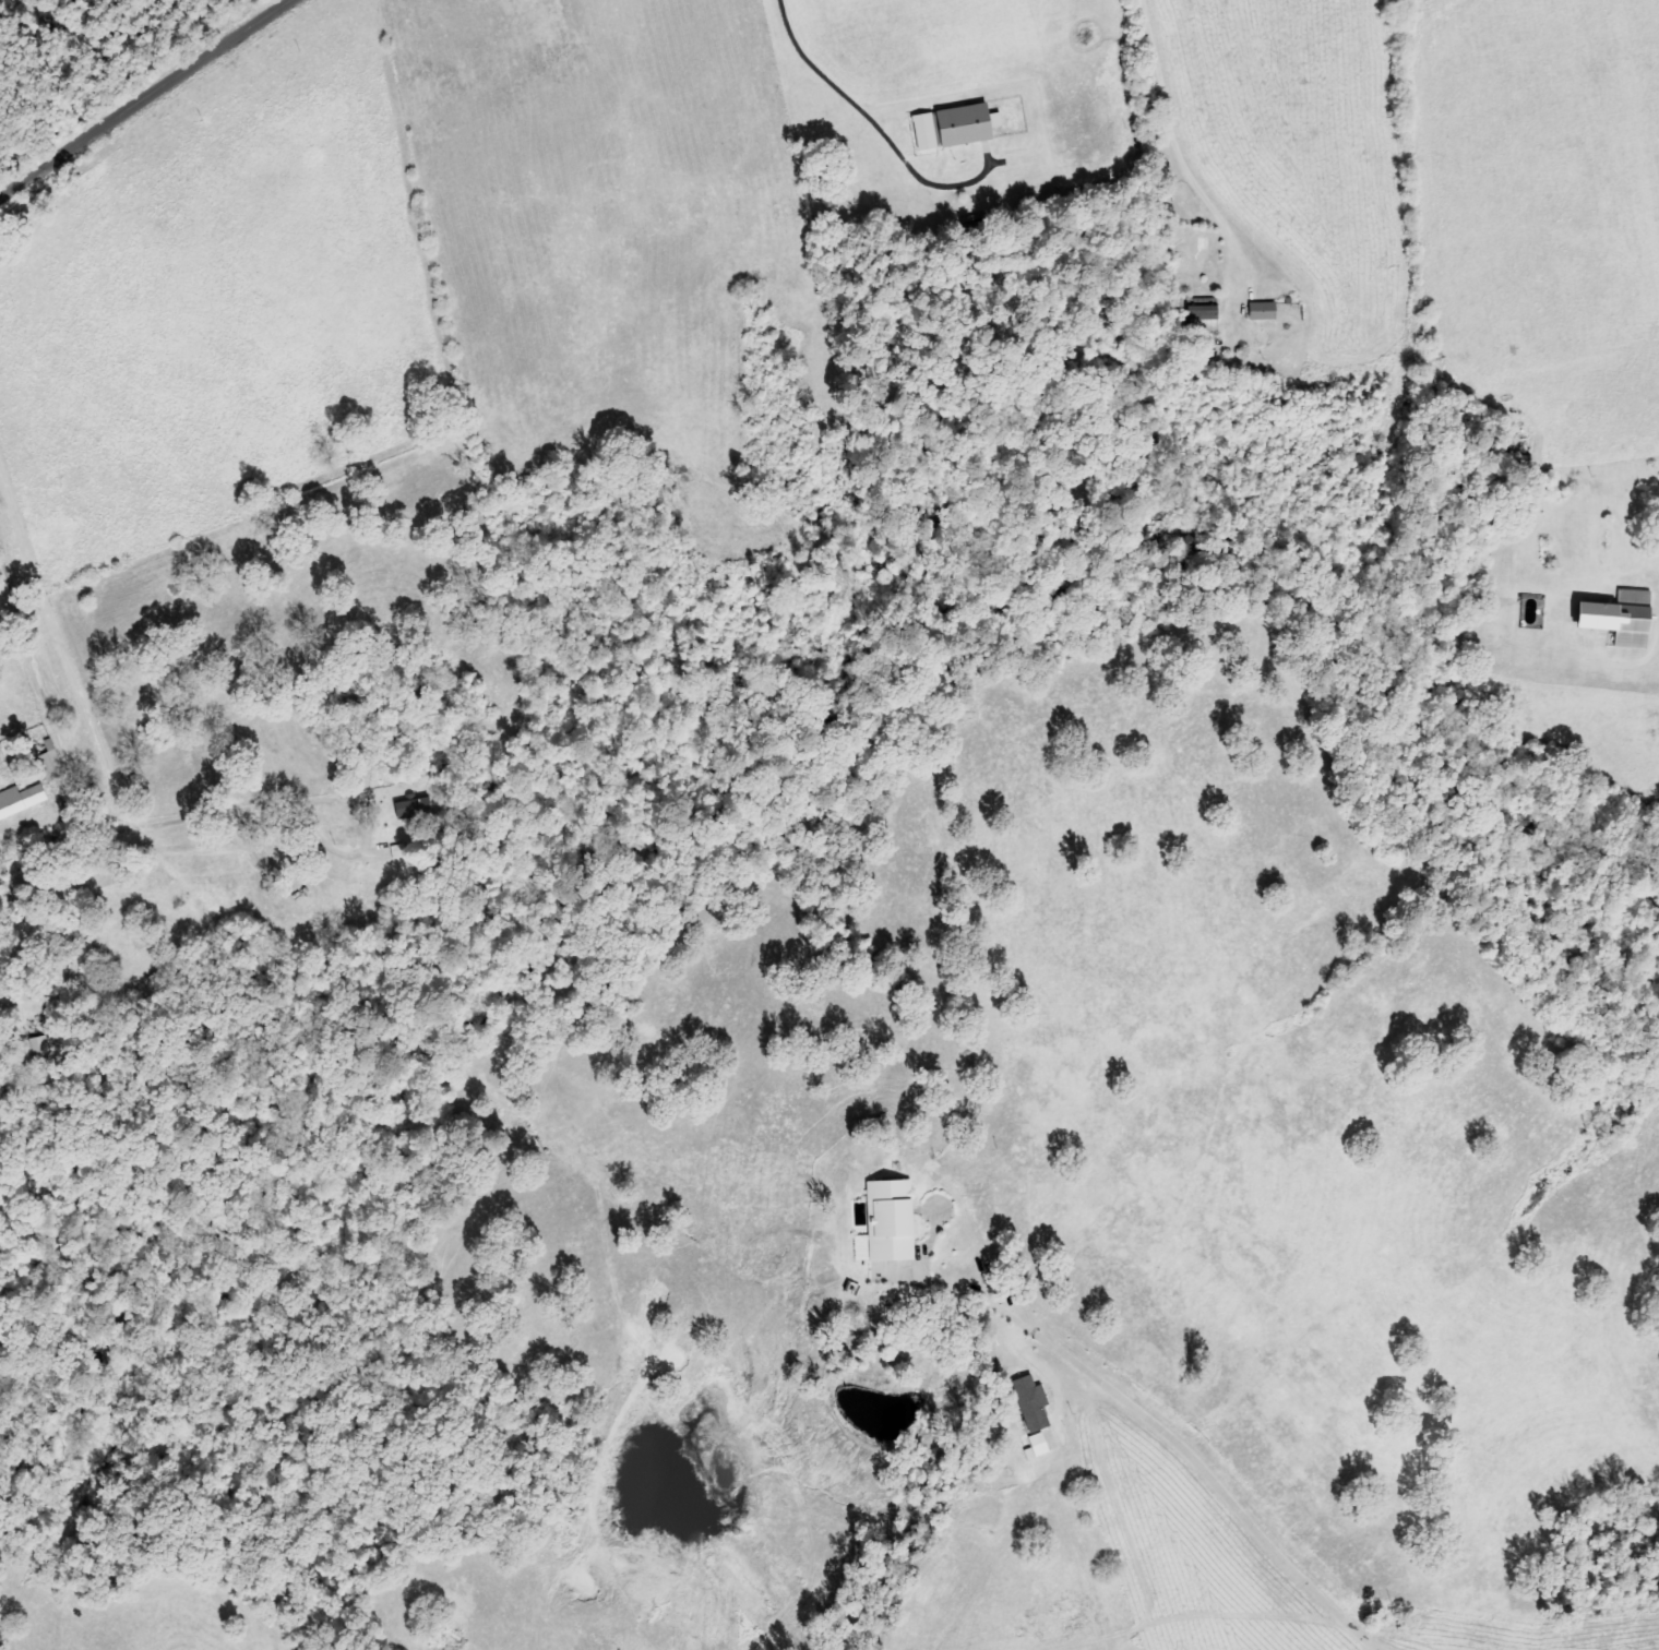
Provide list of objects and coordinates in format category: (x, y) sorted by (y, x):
road: (145, 98)
building: (966, 124)
road: (1161, 154)
building: (1266, 310)
building: (1208, 320)
building: (1626, 618)
building: (55, 762)
building: (23, 799)
building: (417, 806)
road: (95, 818)
building: (892, 1220)
building: (1036, 1401)
building: (1041, 1443)

